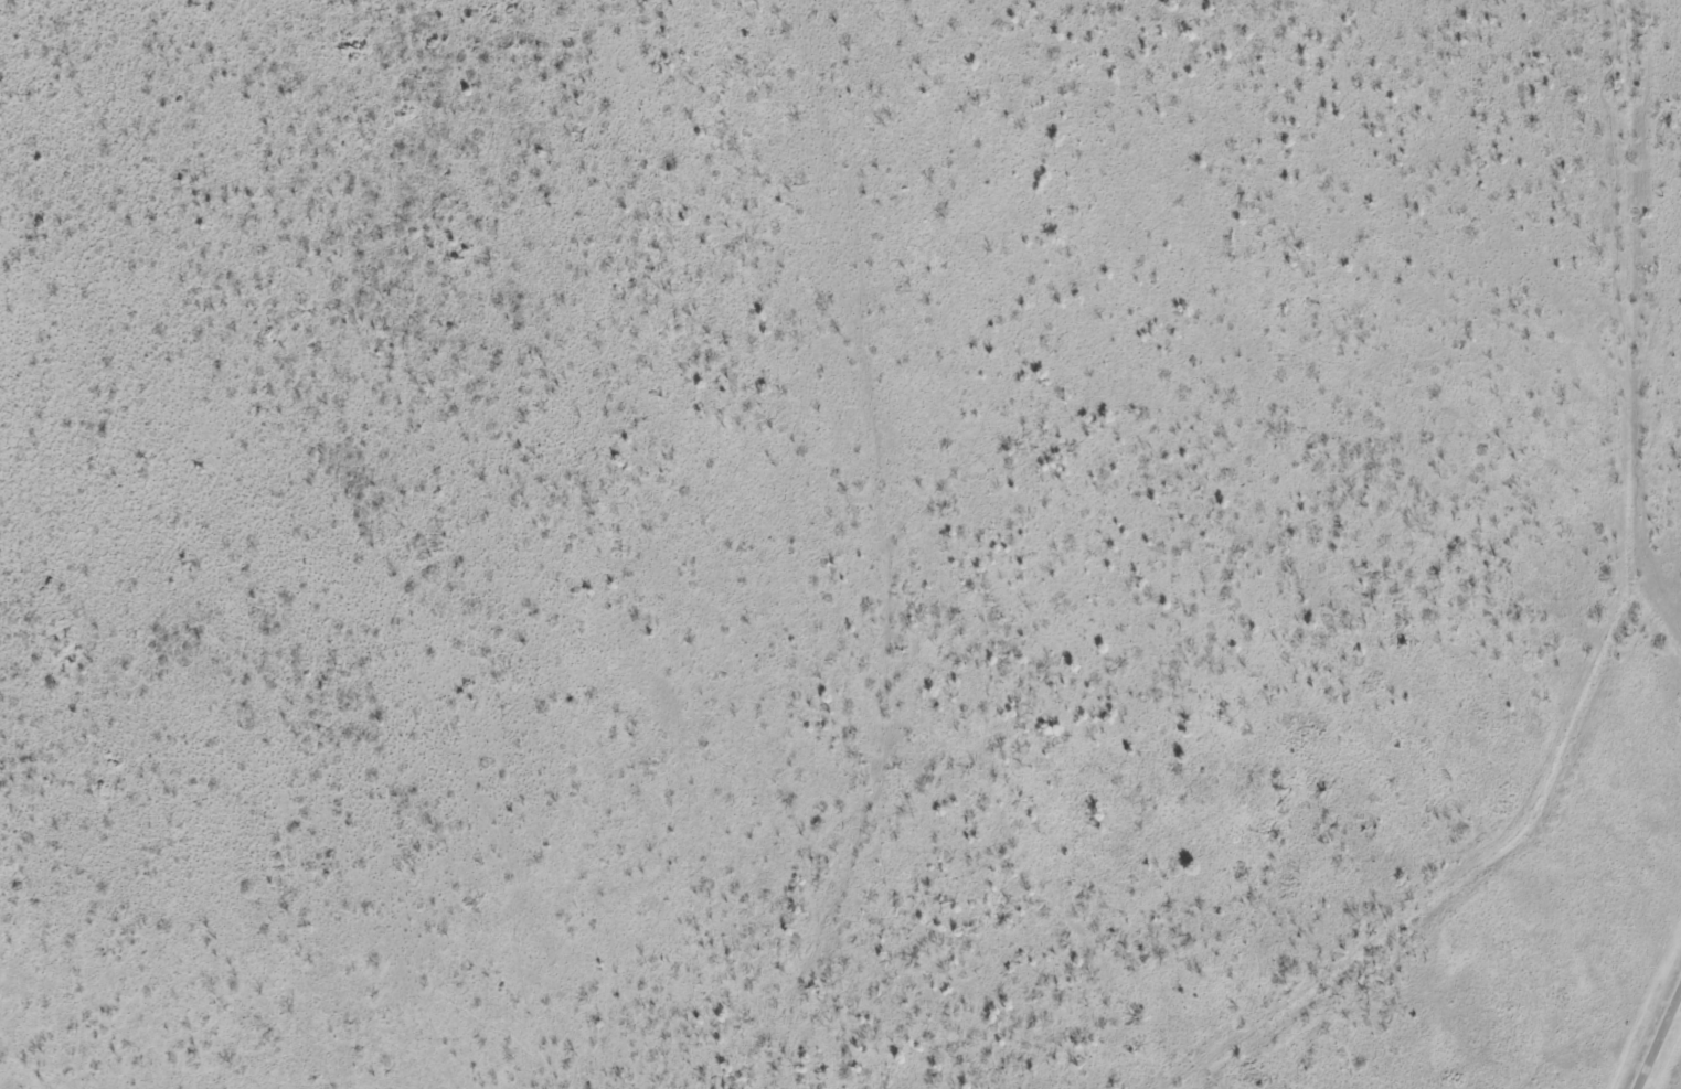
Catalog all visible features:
road: (1656, 1032)

